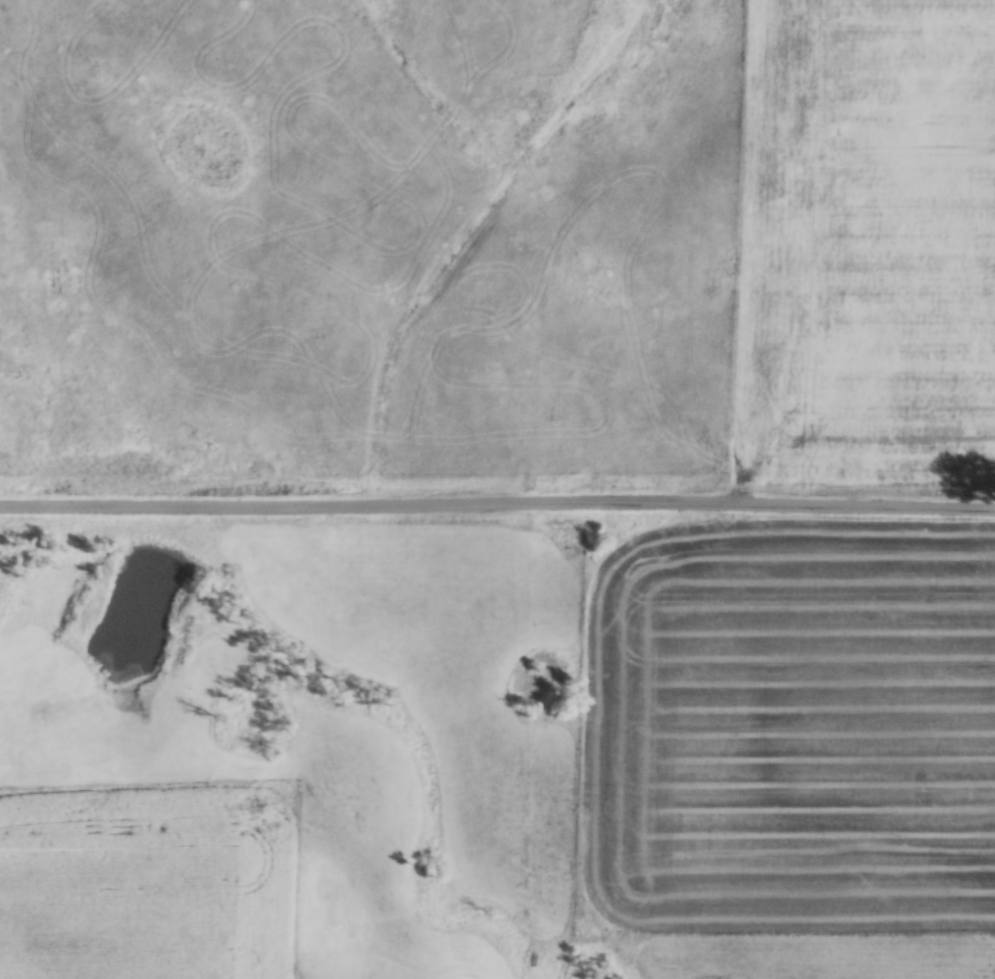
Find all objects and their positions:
road: (497, 502)
river: (137, 615)

